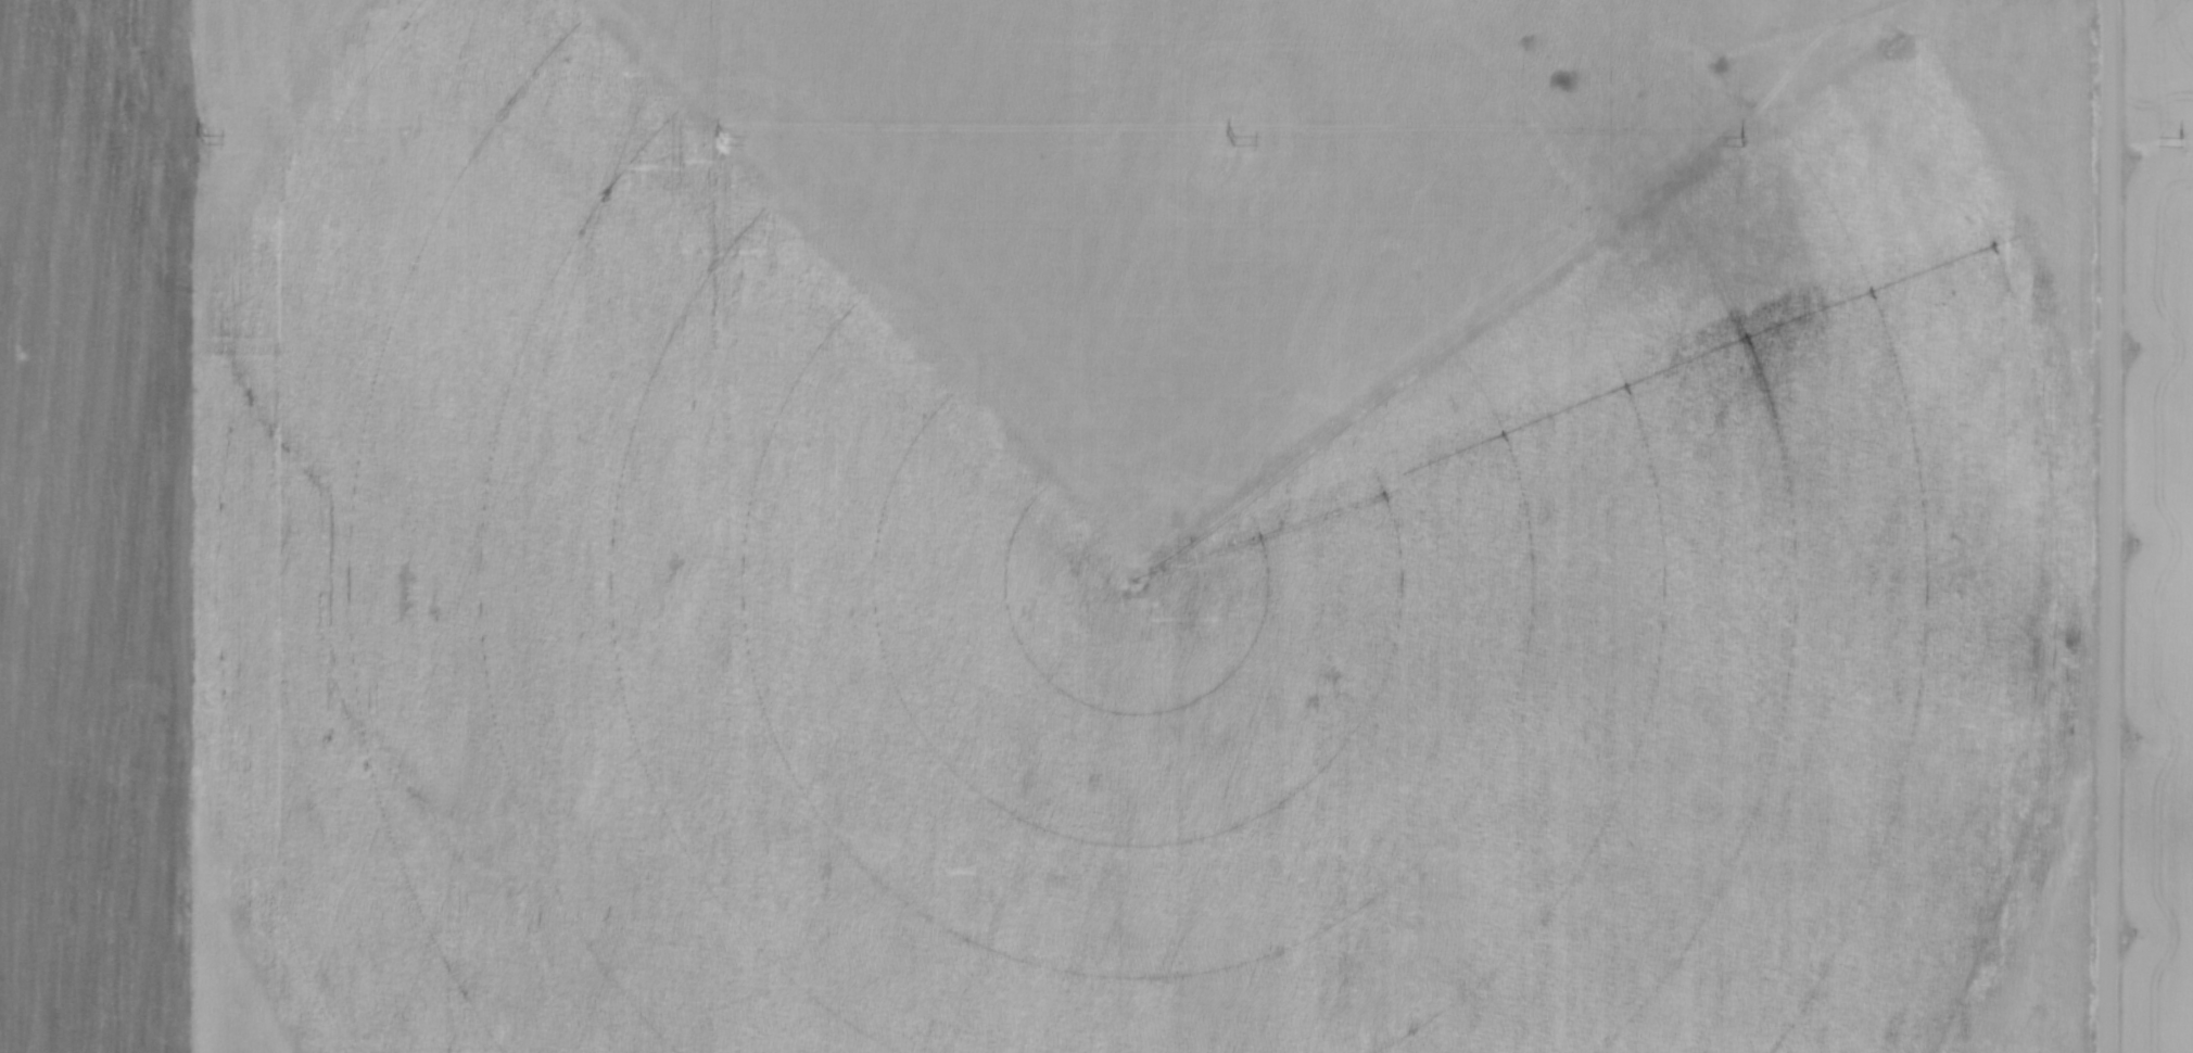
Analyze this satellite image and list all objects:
power tower: (204, 140)
power tower: (1740, 140)
power tower: (724, 141)
power tower: (1234, 142)
power tower: (2180, 142)
crop: (1044, 525)
road: (2109, 525)
crop: (2159, 526)
building: (286, 976)

